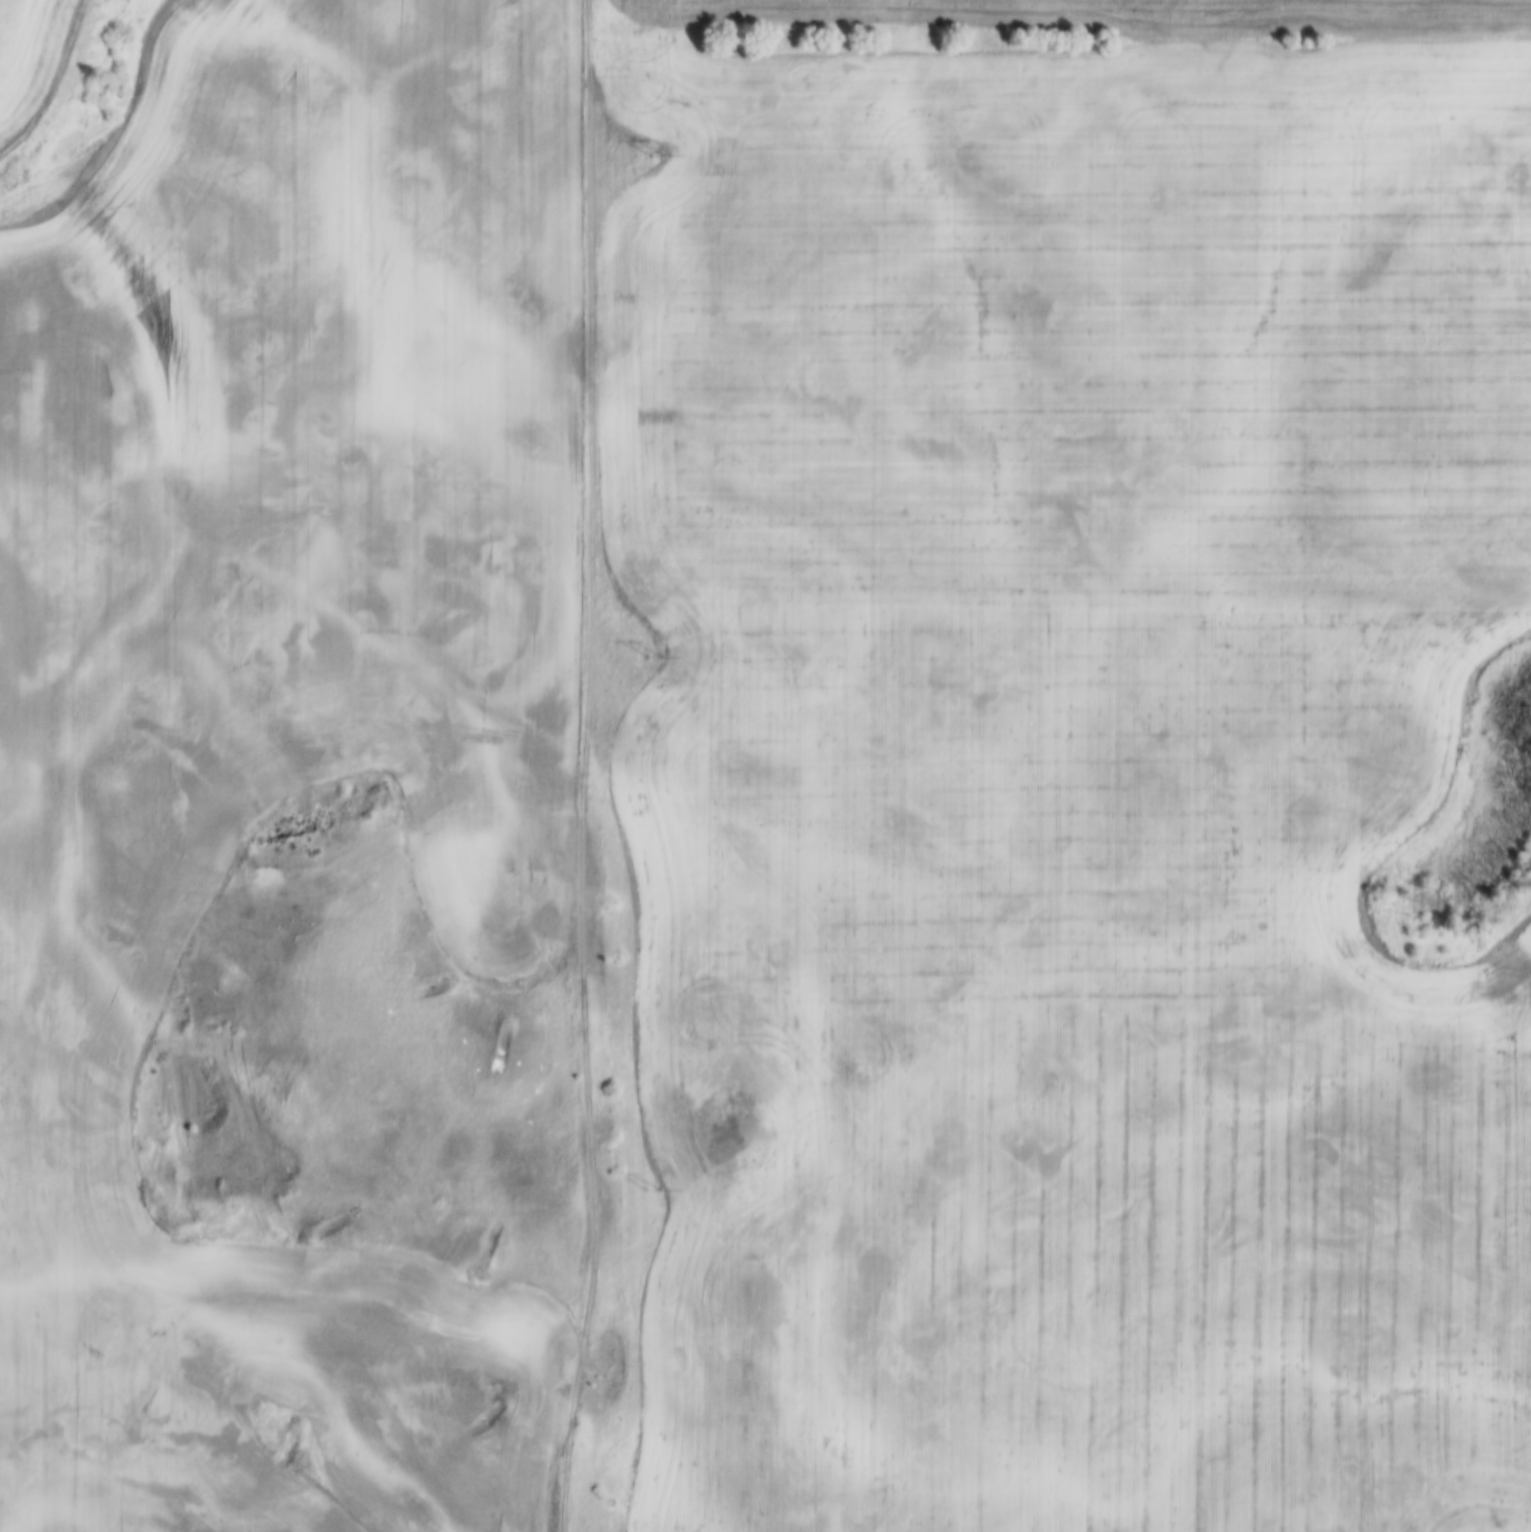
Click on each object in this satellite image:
power tower: (653, 156)
power tower: (653, 659)
road: (586, 767)
power tower: (650, 1189)

